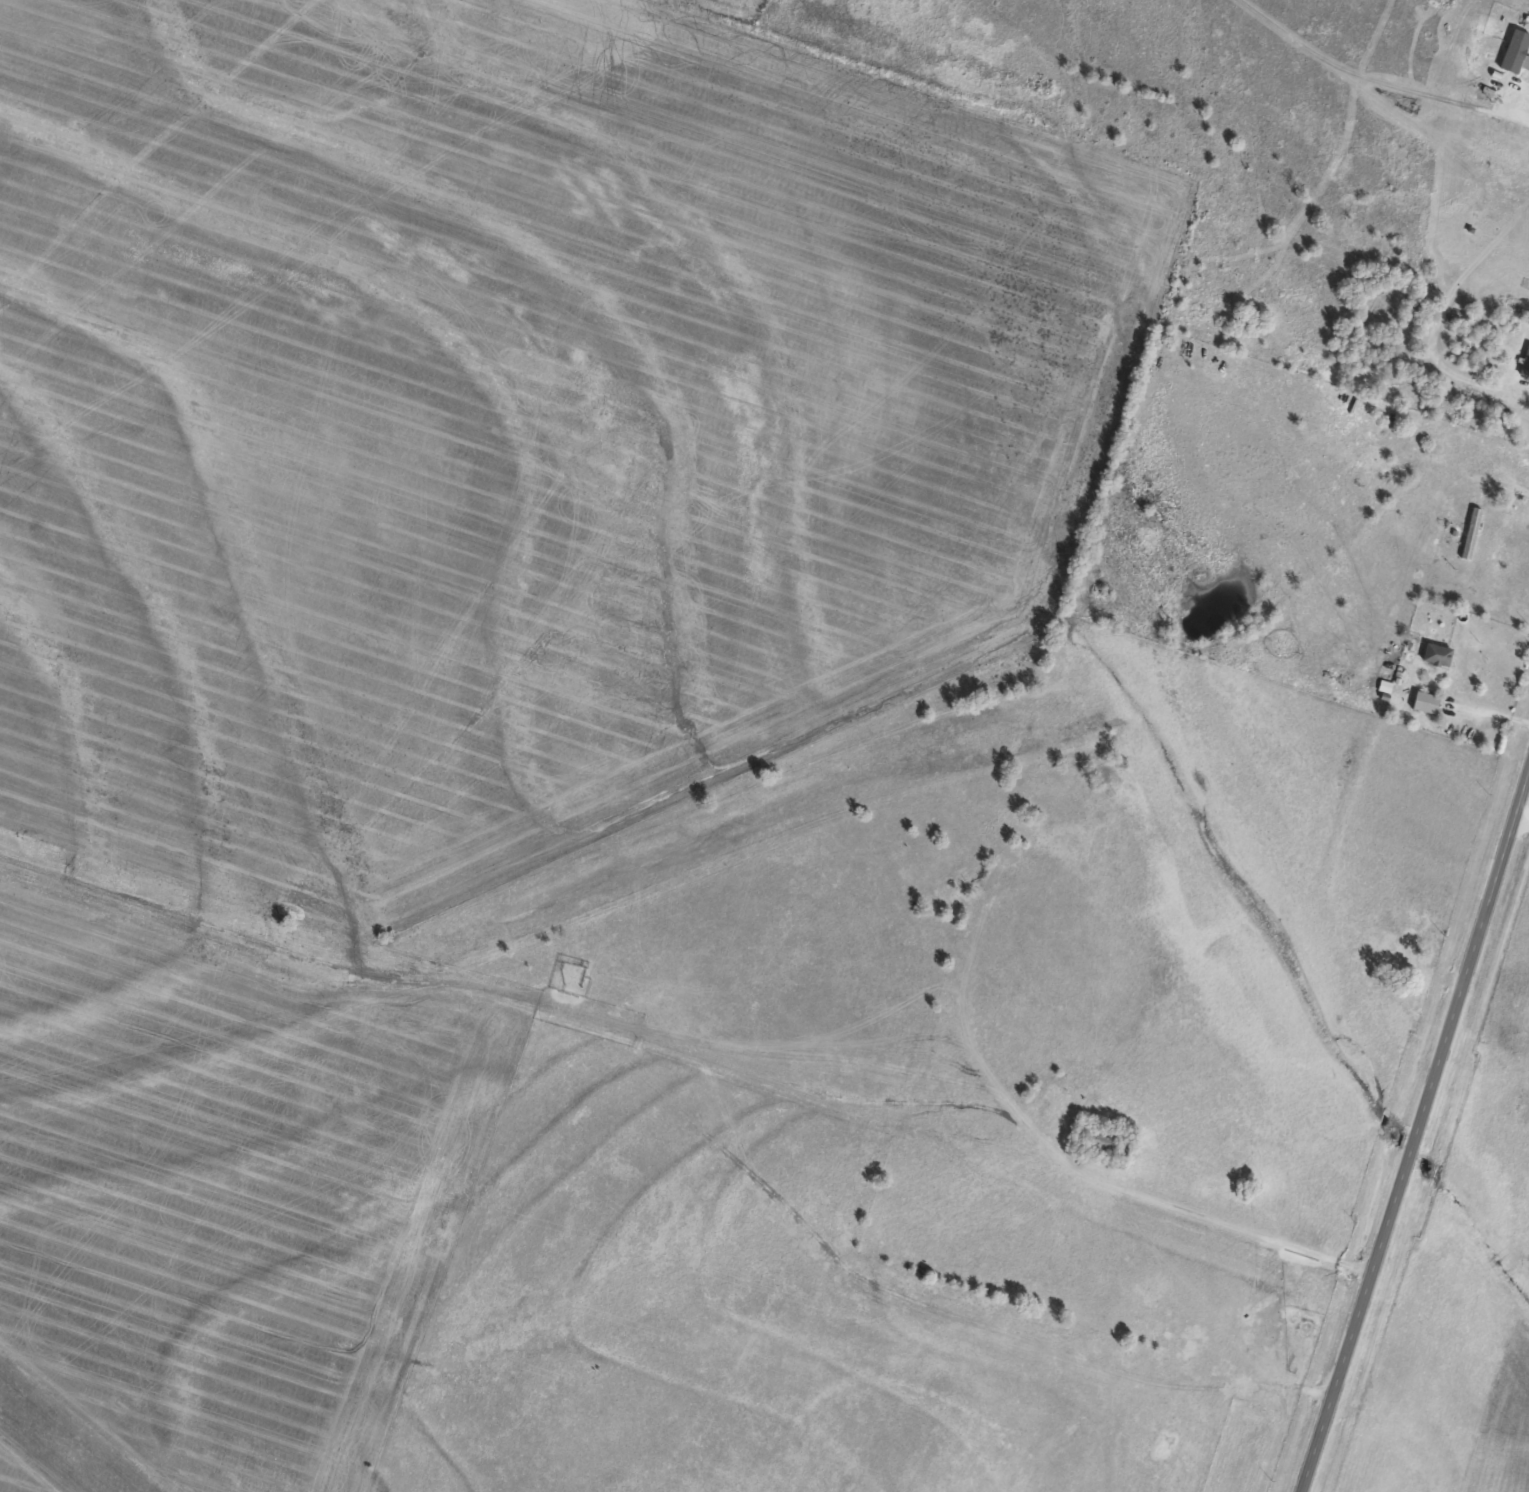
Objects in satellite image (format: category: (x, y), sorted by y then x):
building: (1525, 364)
building: (1470, 533)
building: (1436, 655)
building: (1425, 702)
road: (1520, 822)
road: (1413, 1128)
building: (1100, 1142)
road: (1051, 1202)

